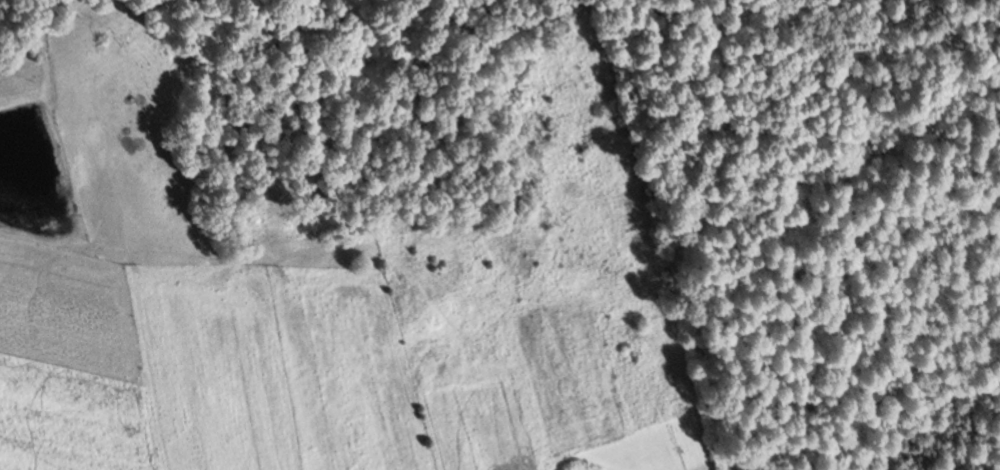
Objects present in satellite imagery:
road: (958, 235)

